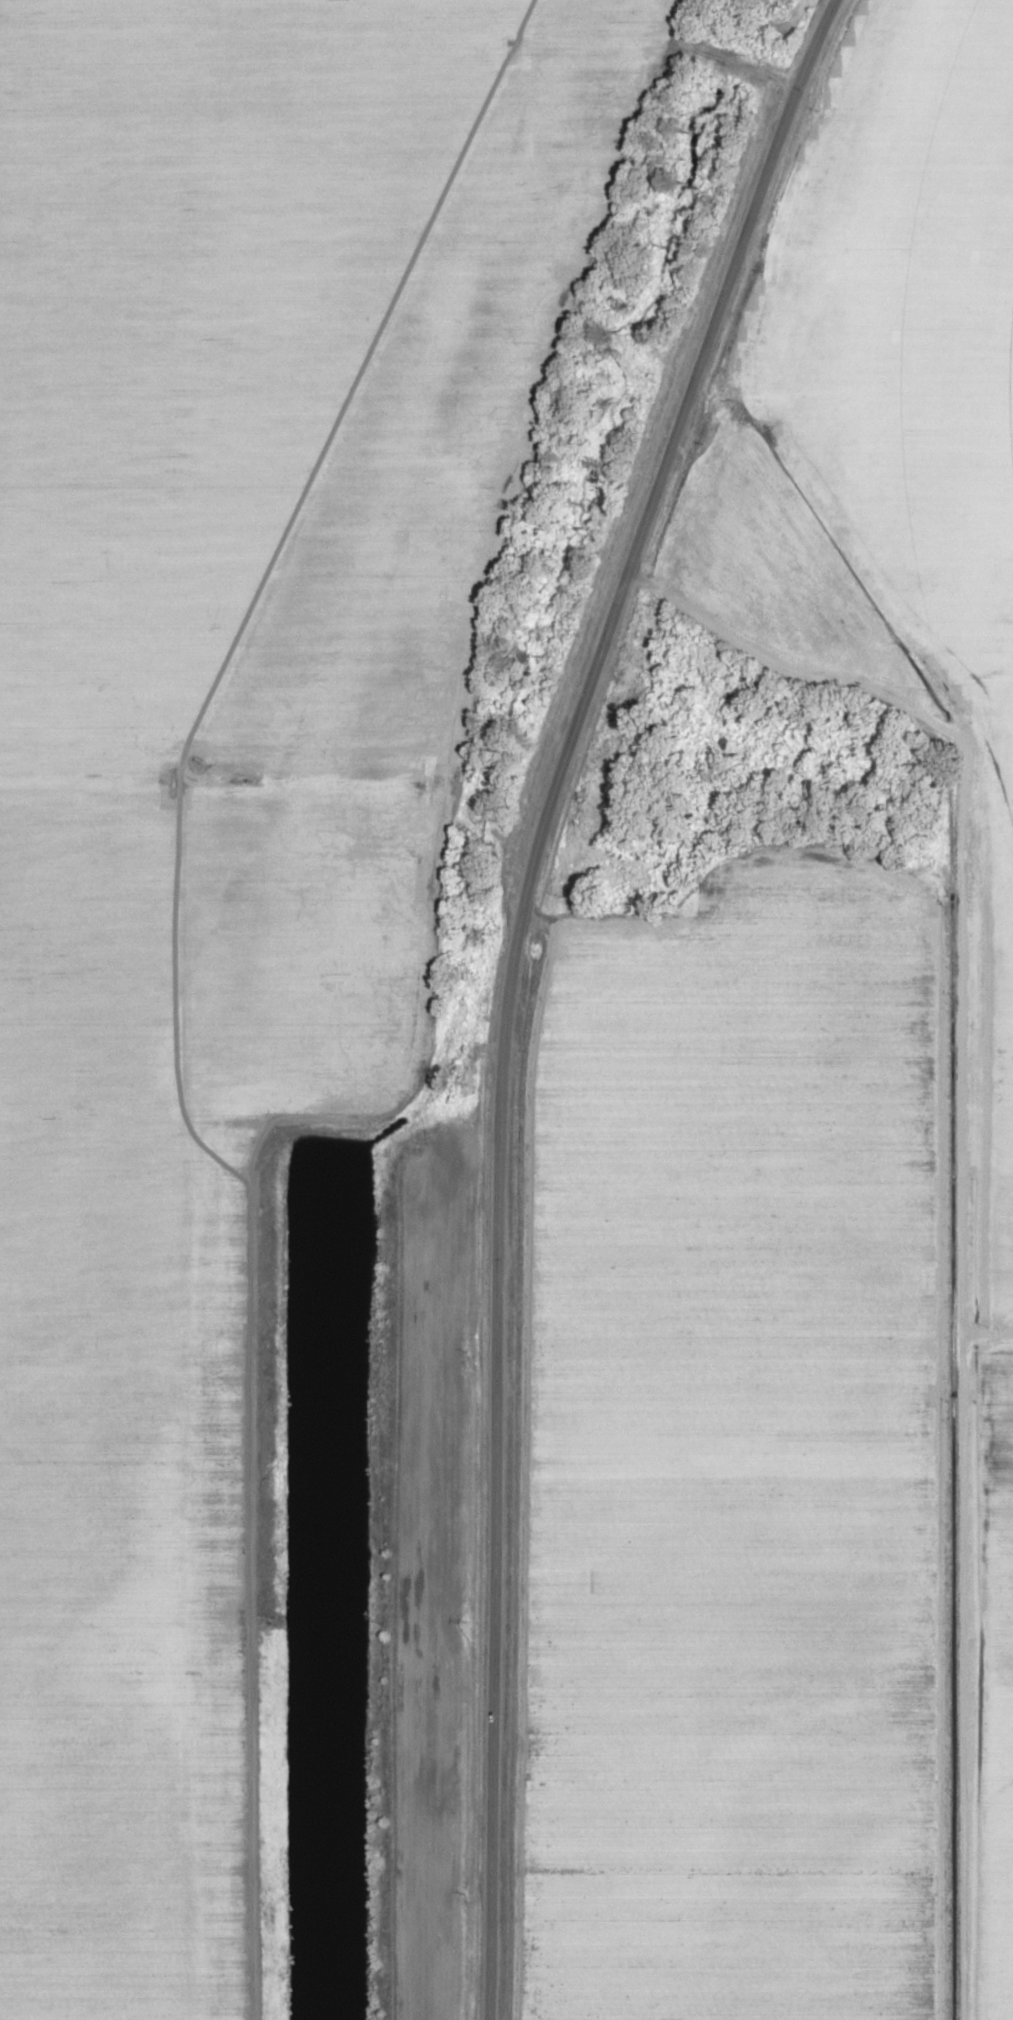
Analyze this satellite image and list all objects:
road: (324, 468)
road: (508, 983)
road: (977, 1194)
road: (994, 1323)

